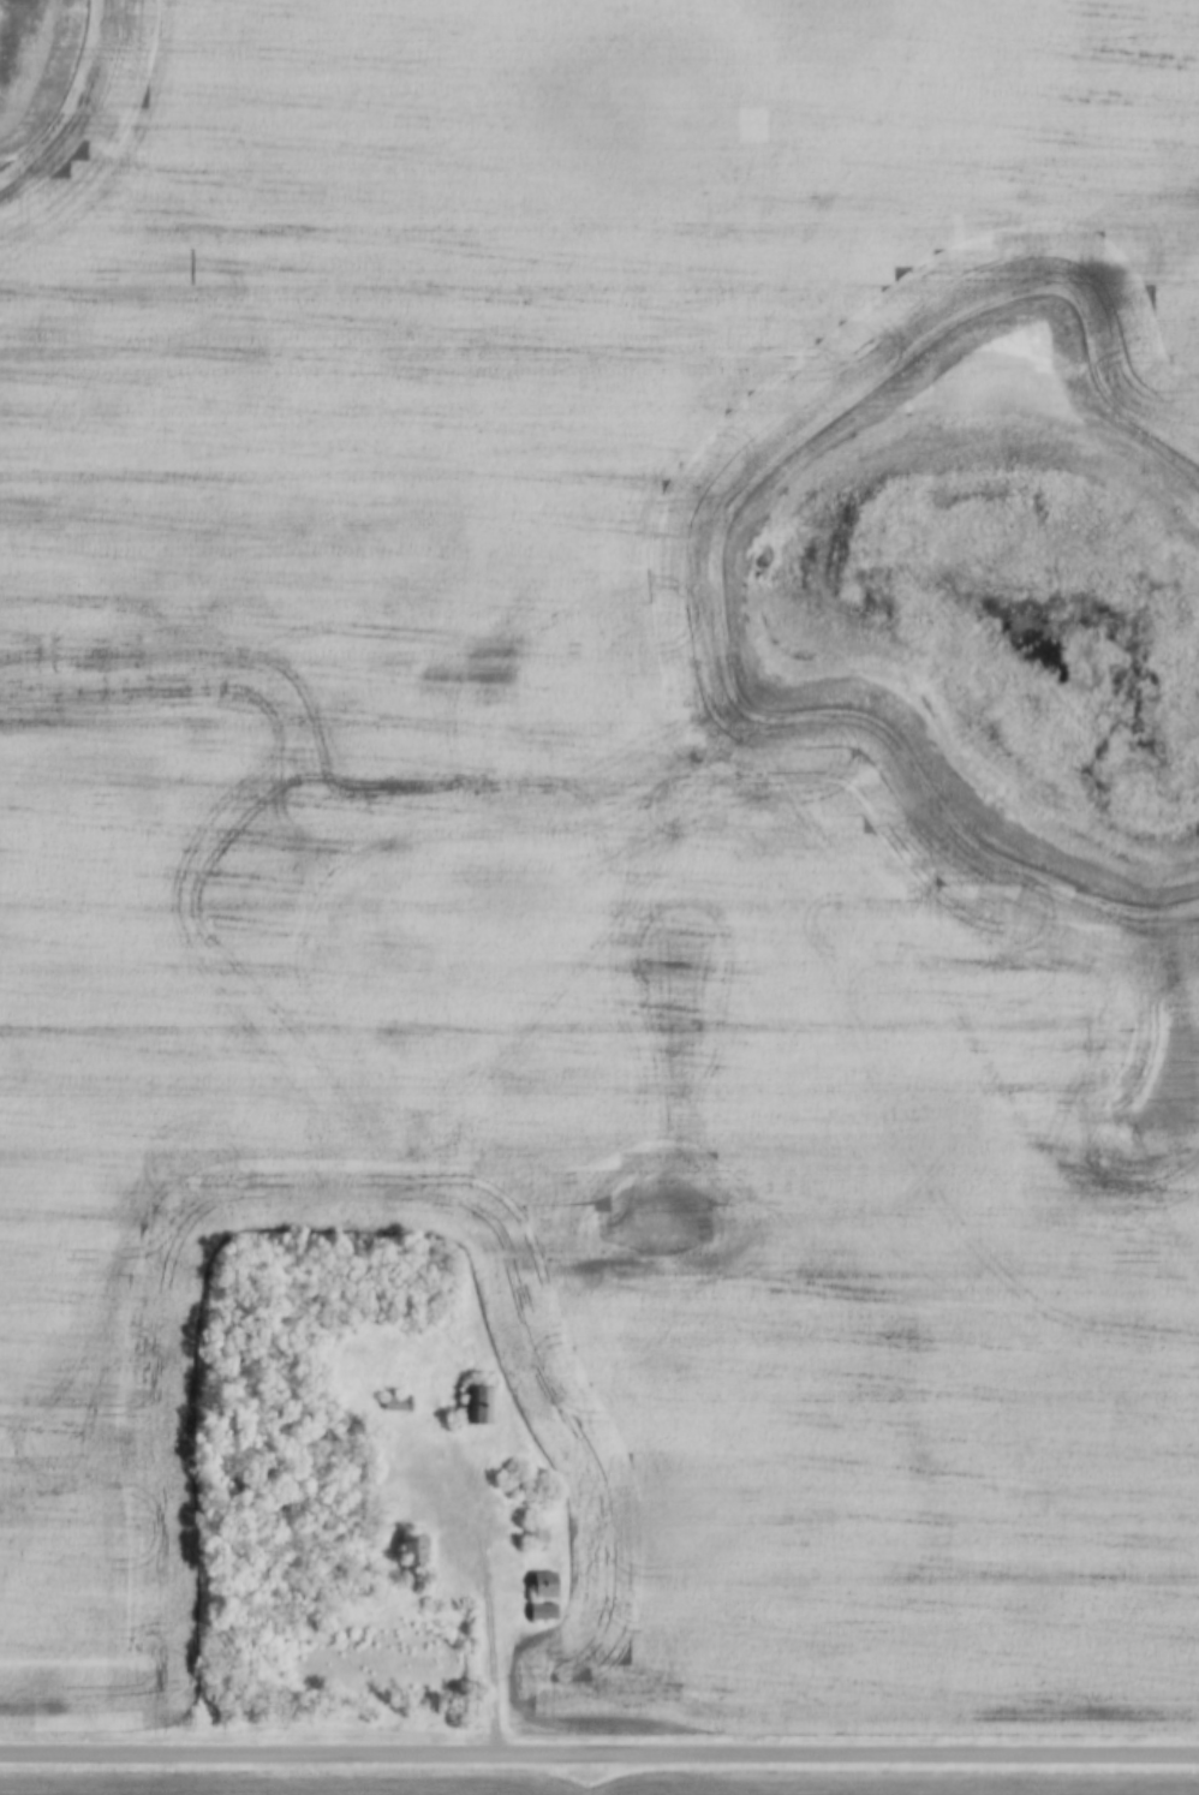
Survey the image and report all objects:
building: (396, 1405)
building: (475, 1407)
building: (537, 1534)
building: (410, 1552)
building: (543, 1585)
building: (542, 1612)
road: (494, 1620)
road: (598, 1759)

